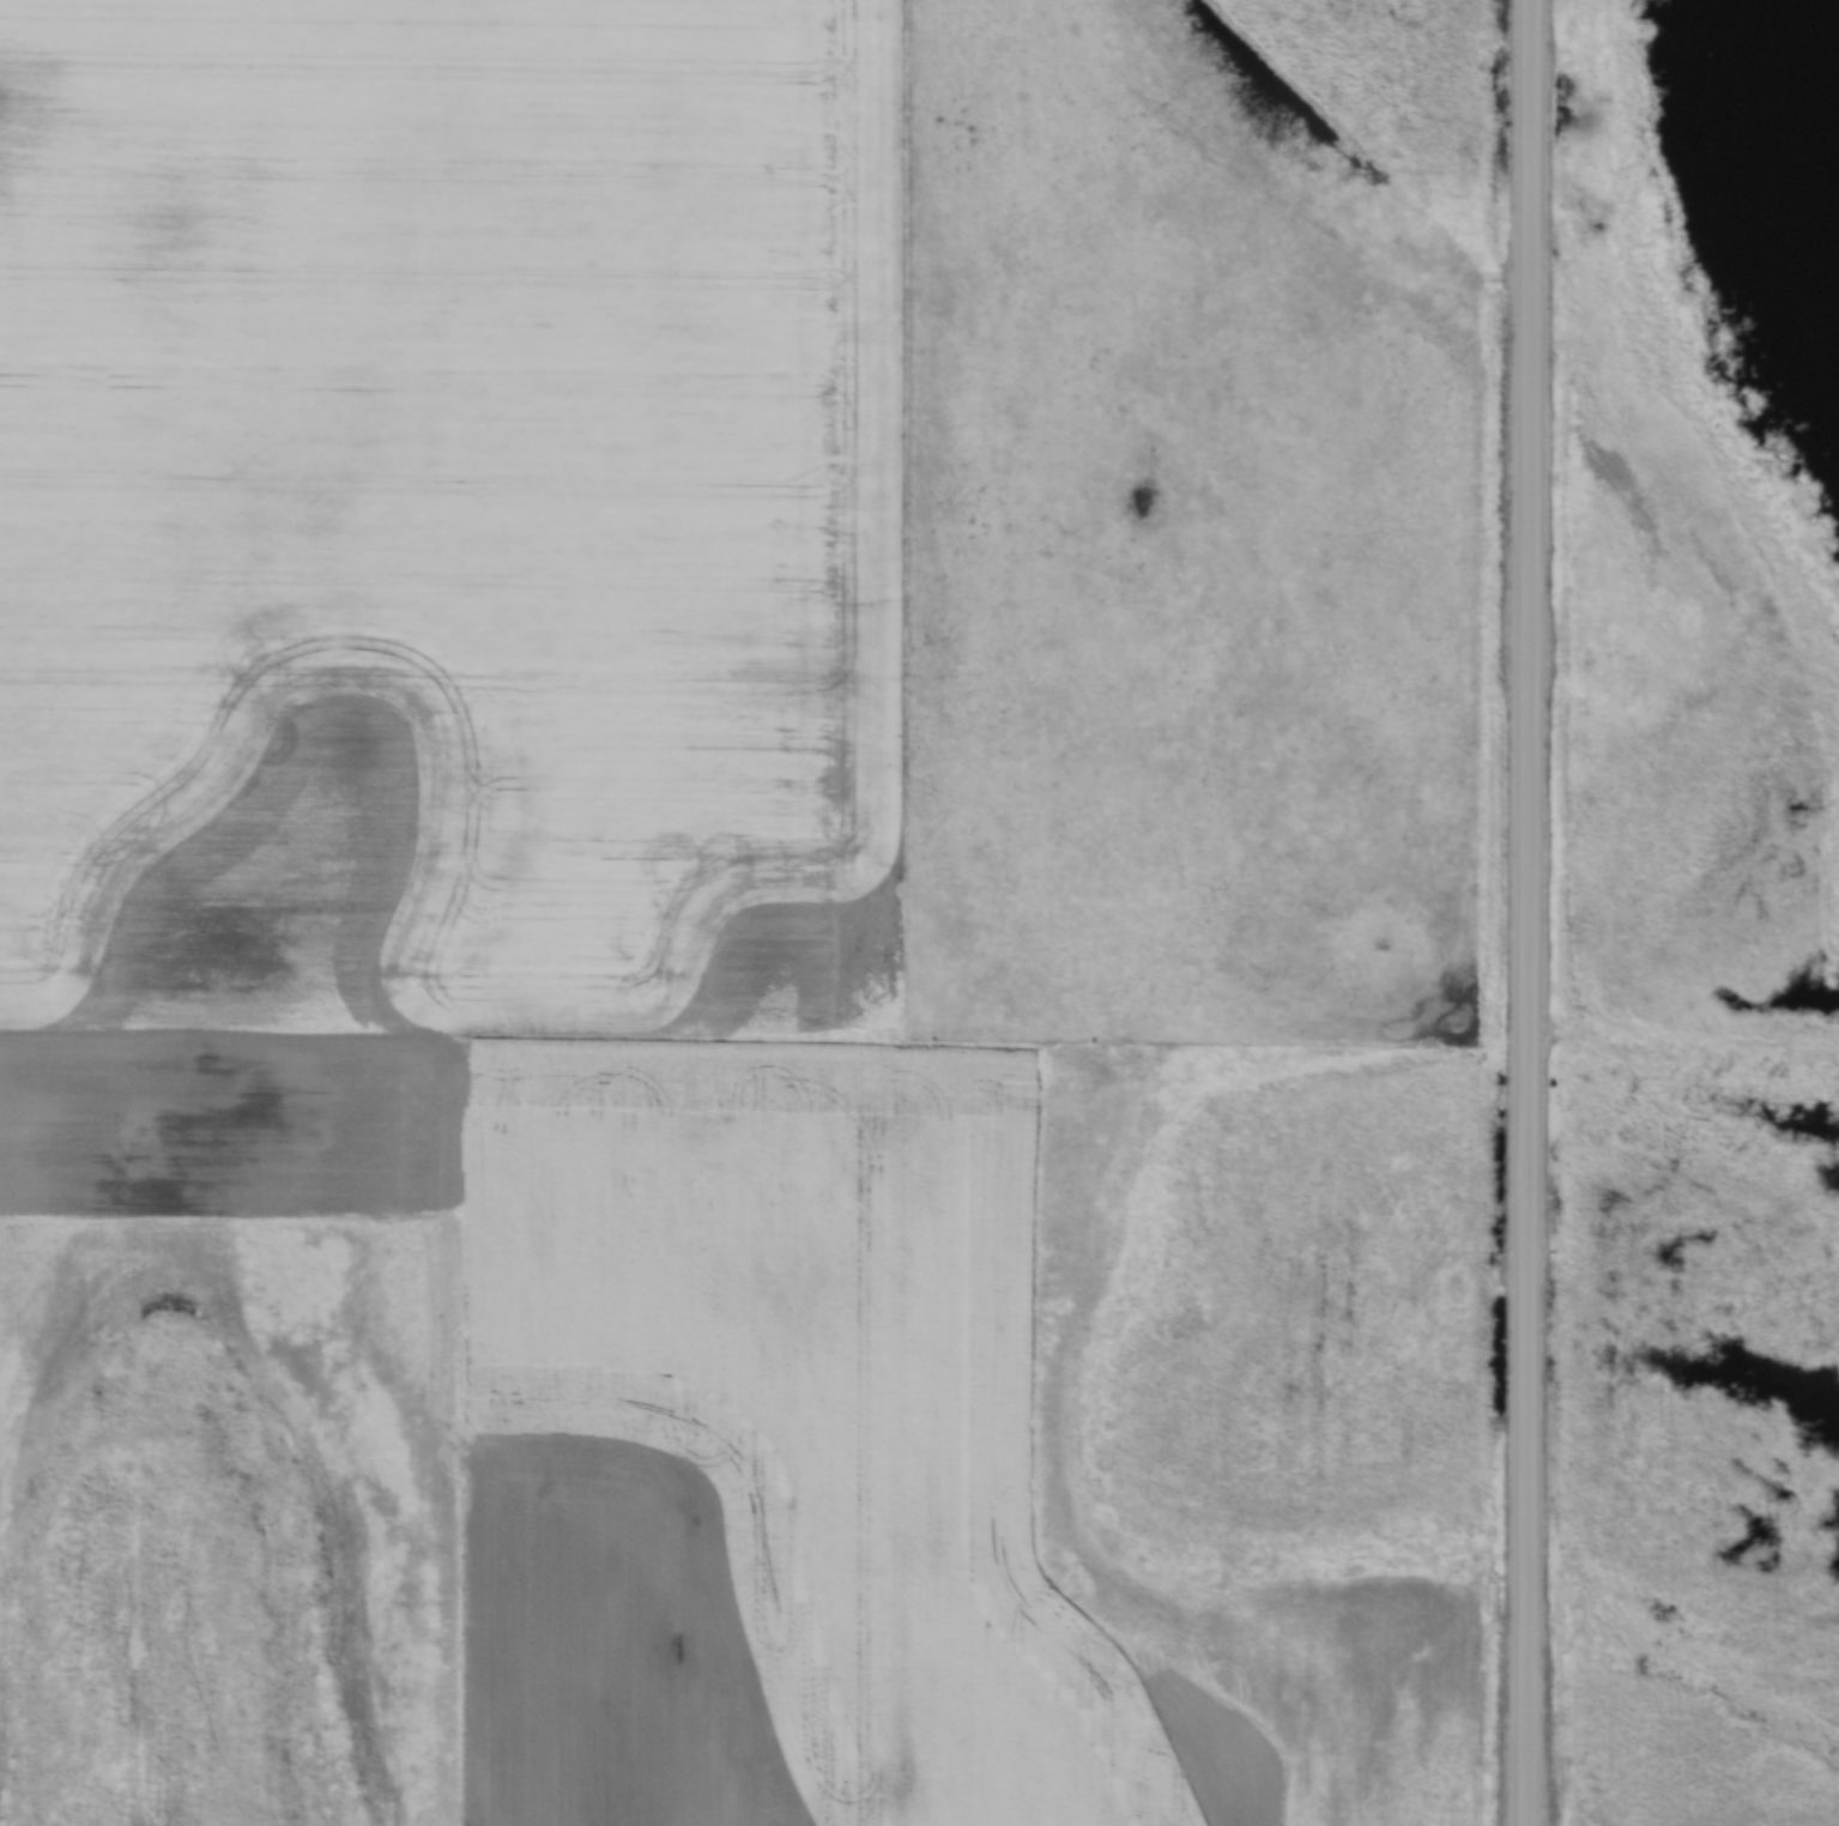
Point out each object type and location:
road: (1526, 913)

